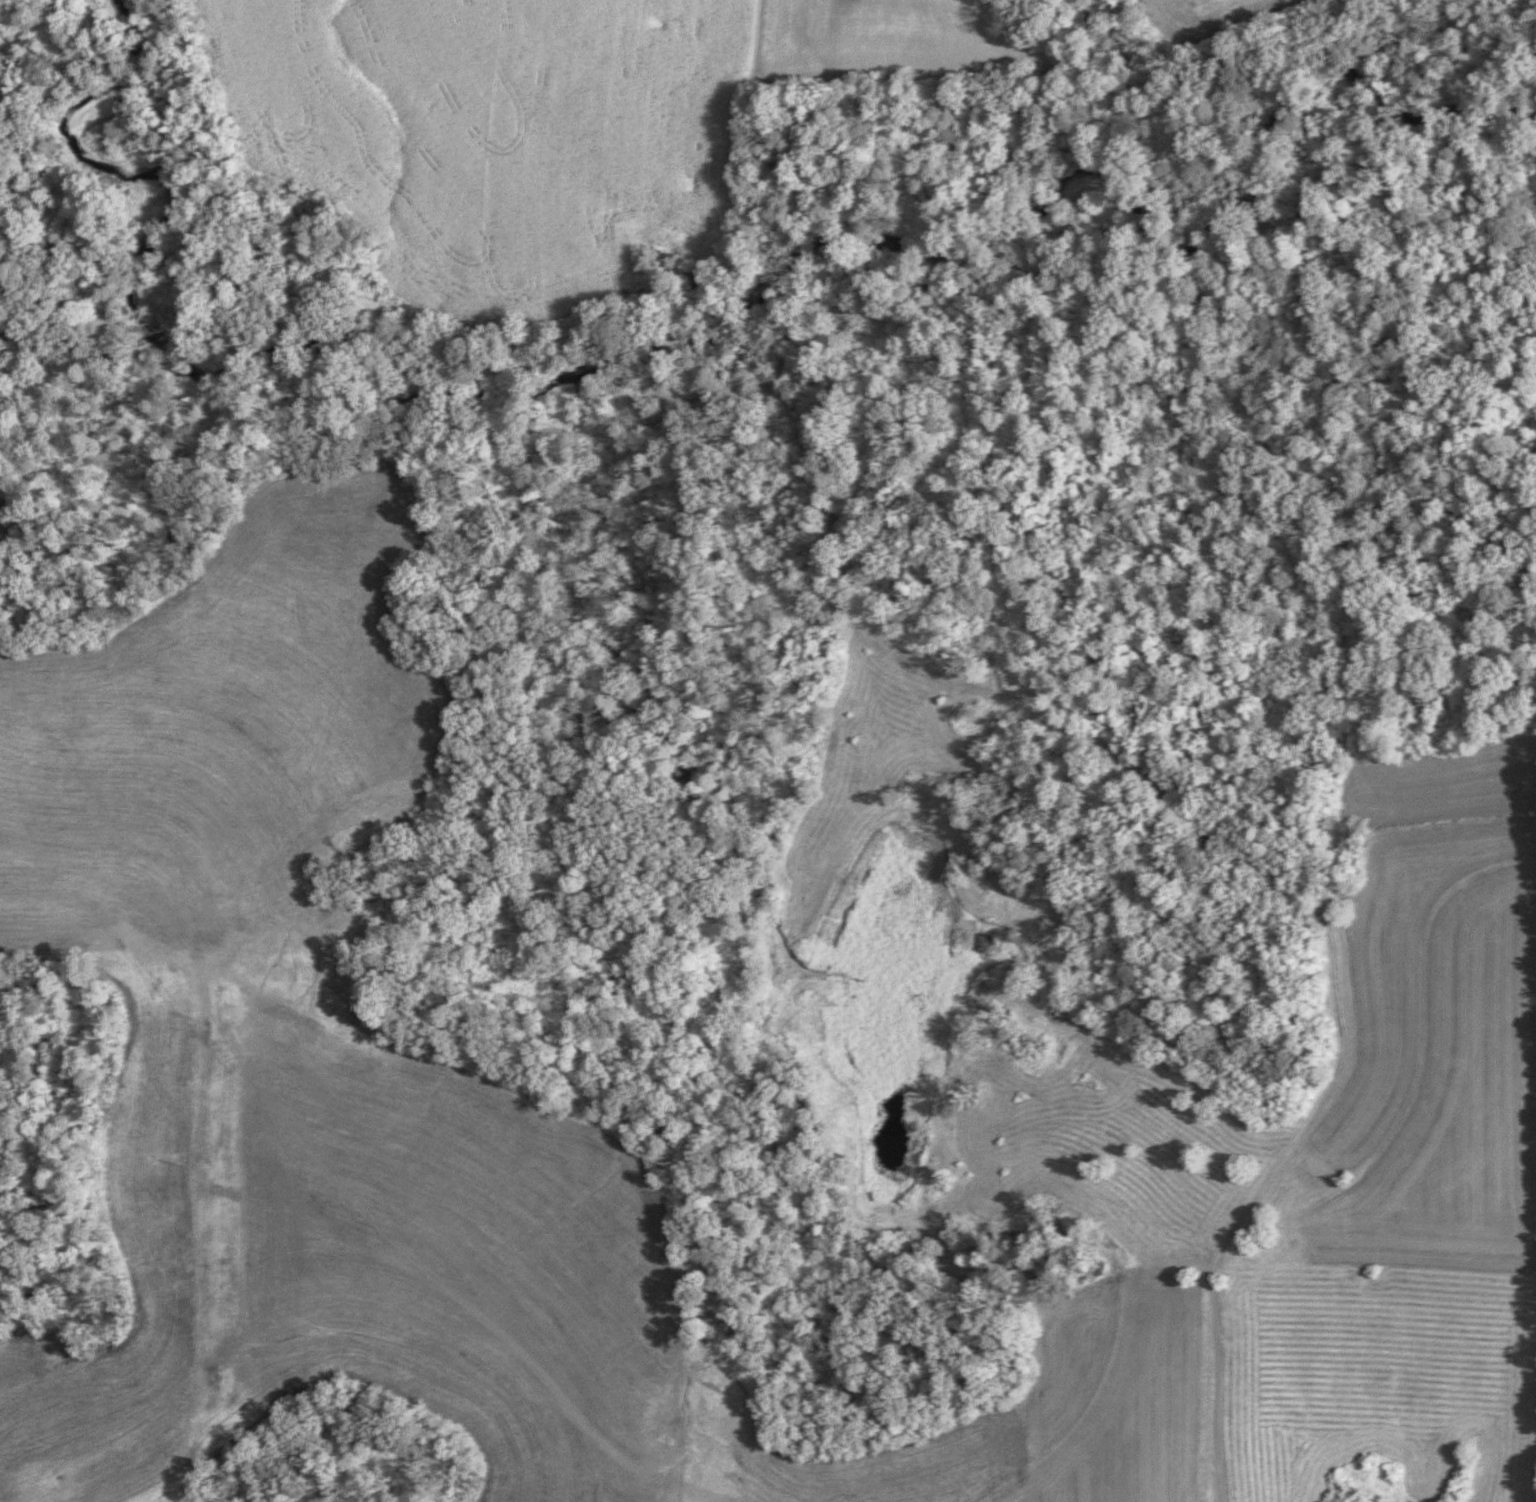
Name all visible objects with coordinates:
road: (1253, 1195)

